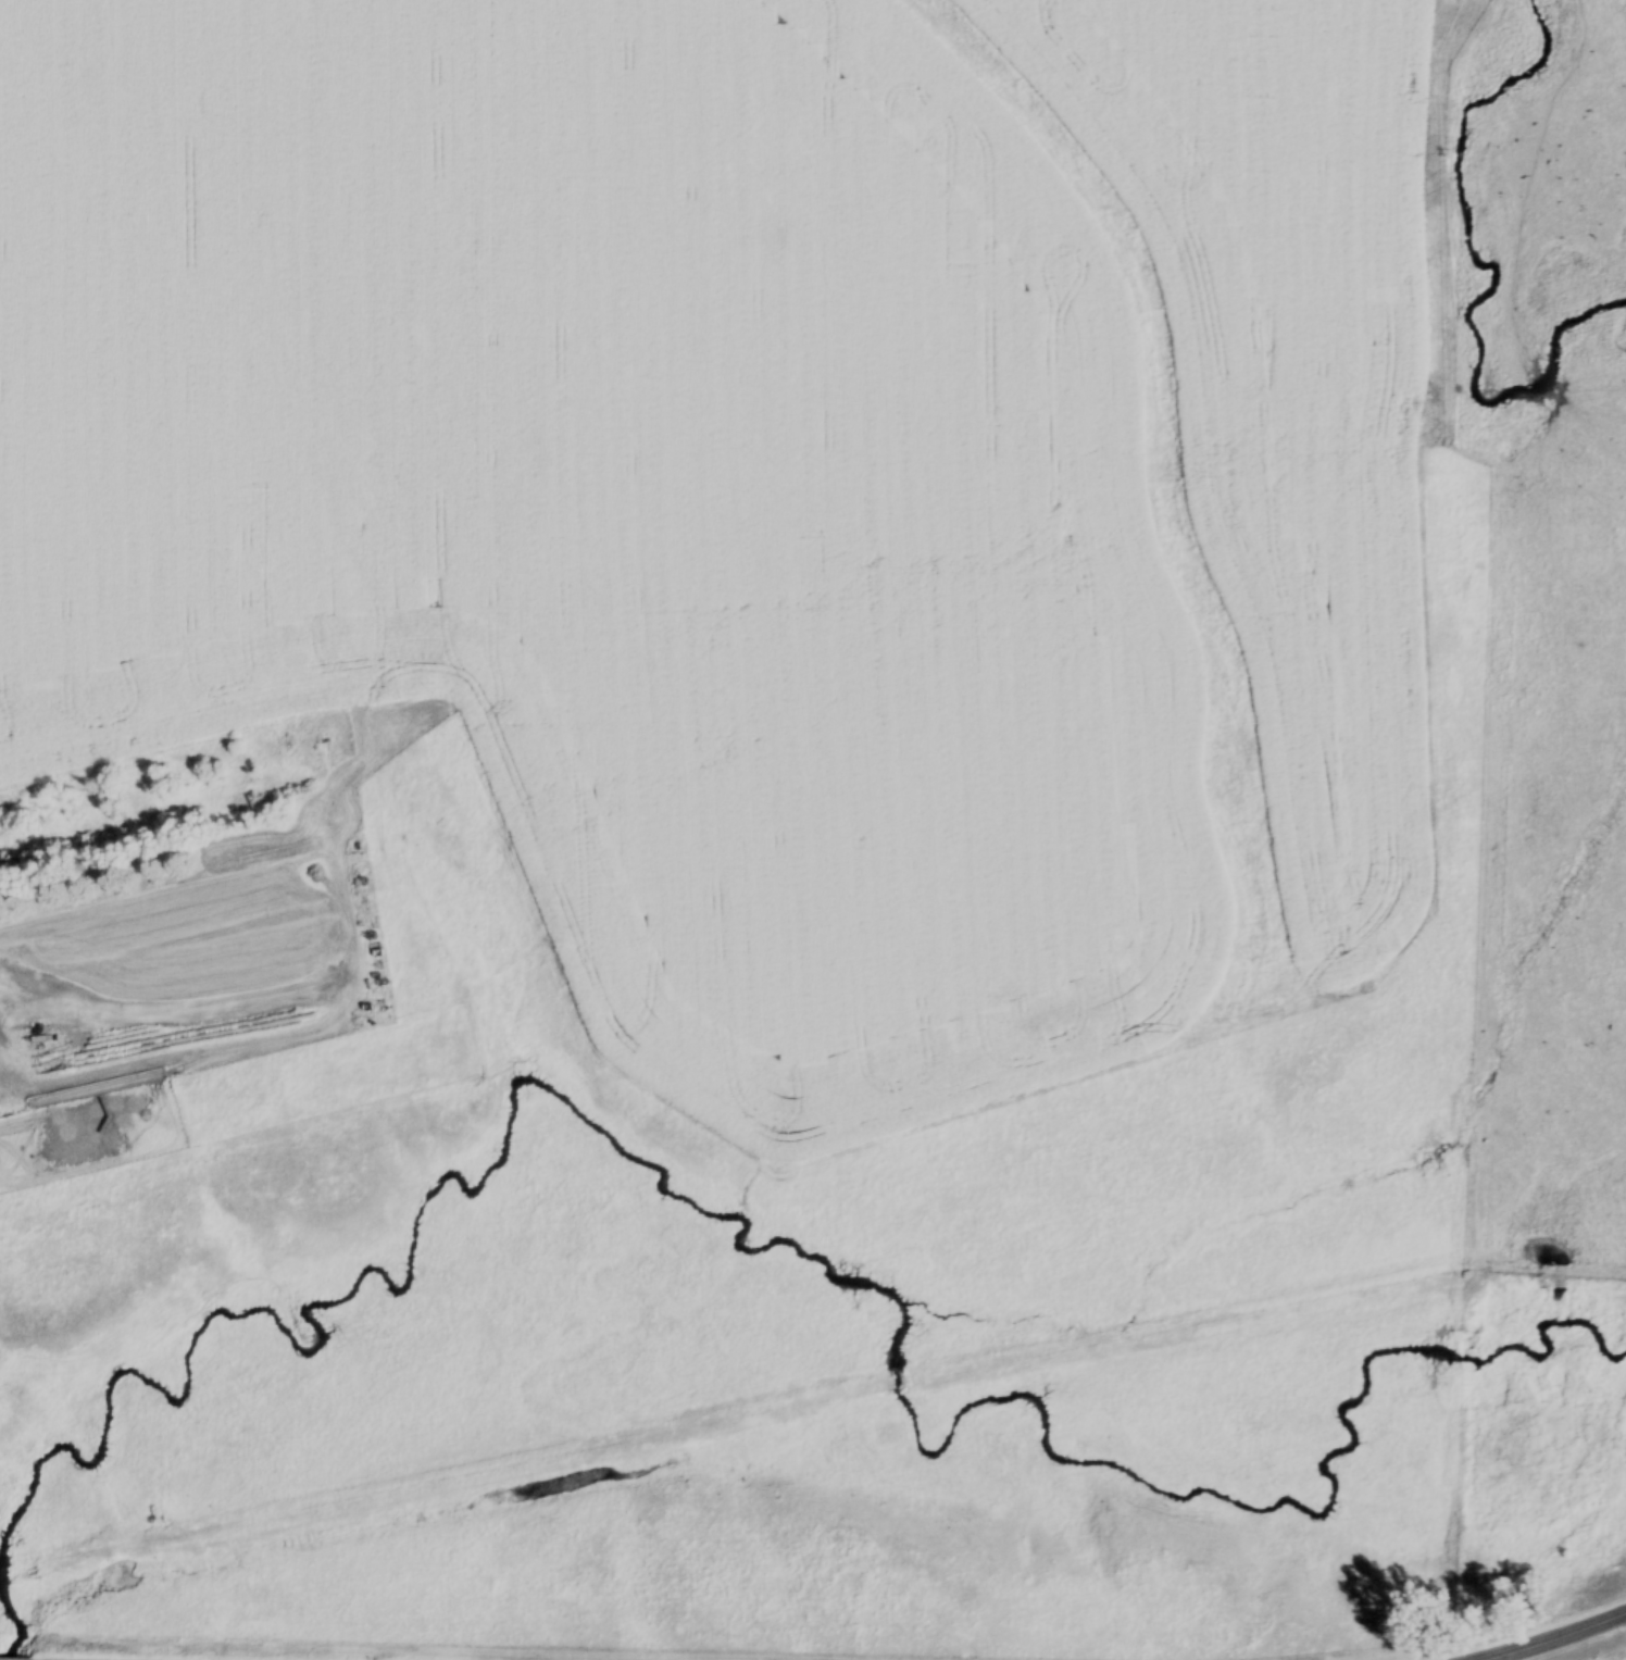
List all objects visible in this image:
road: (1563, 1638)

